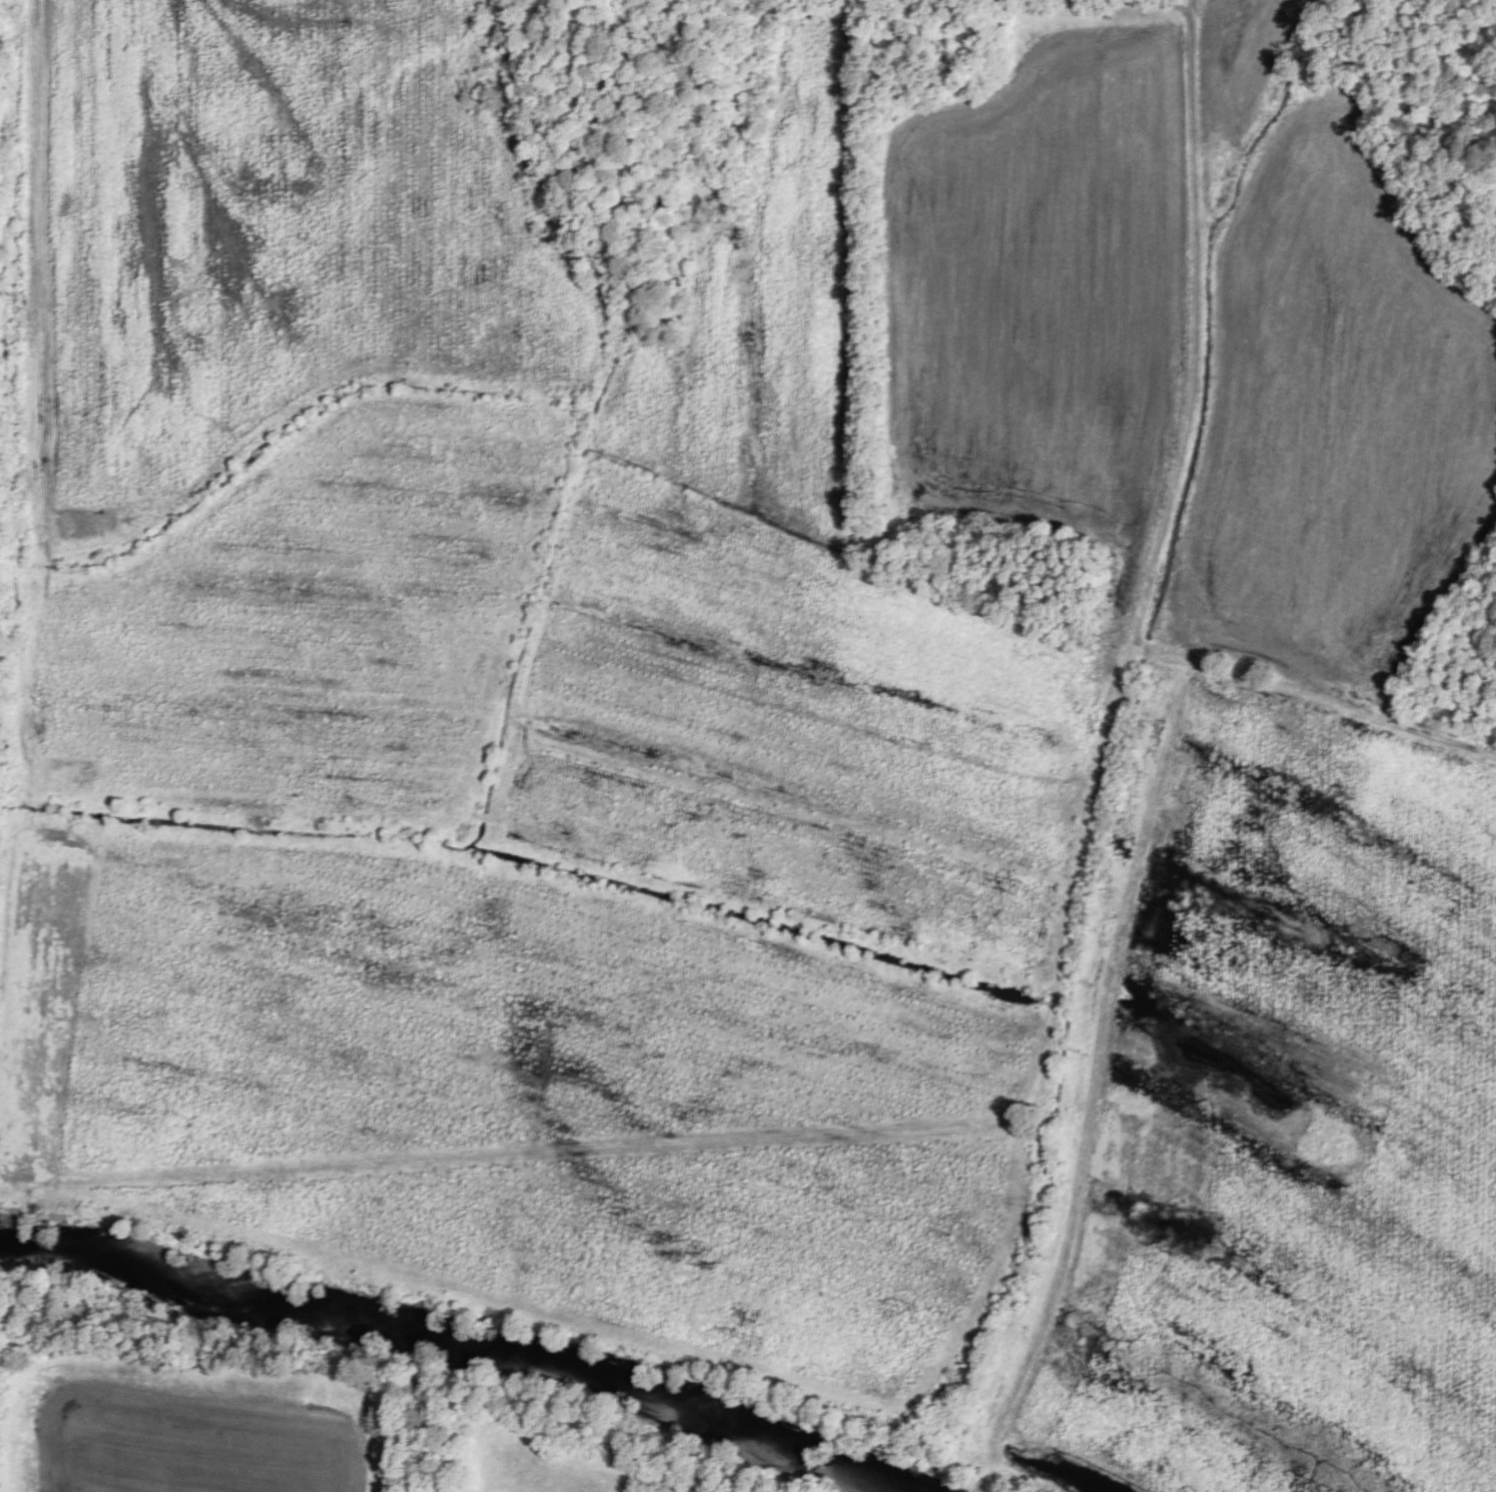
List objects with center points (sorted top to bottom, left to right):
river: (459, 1337)

